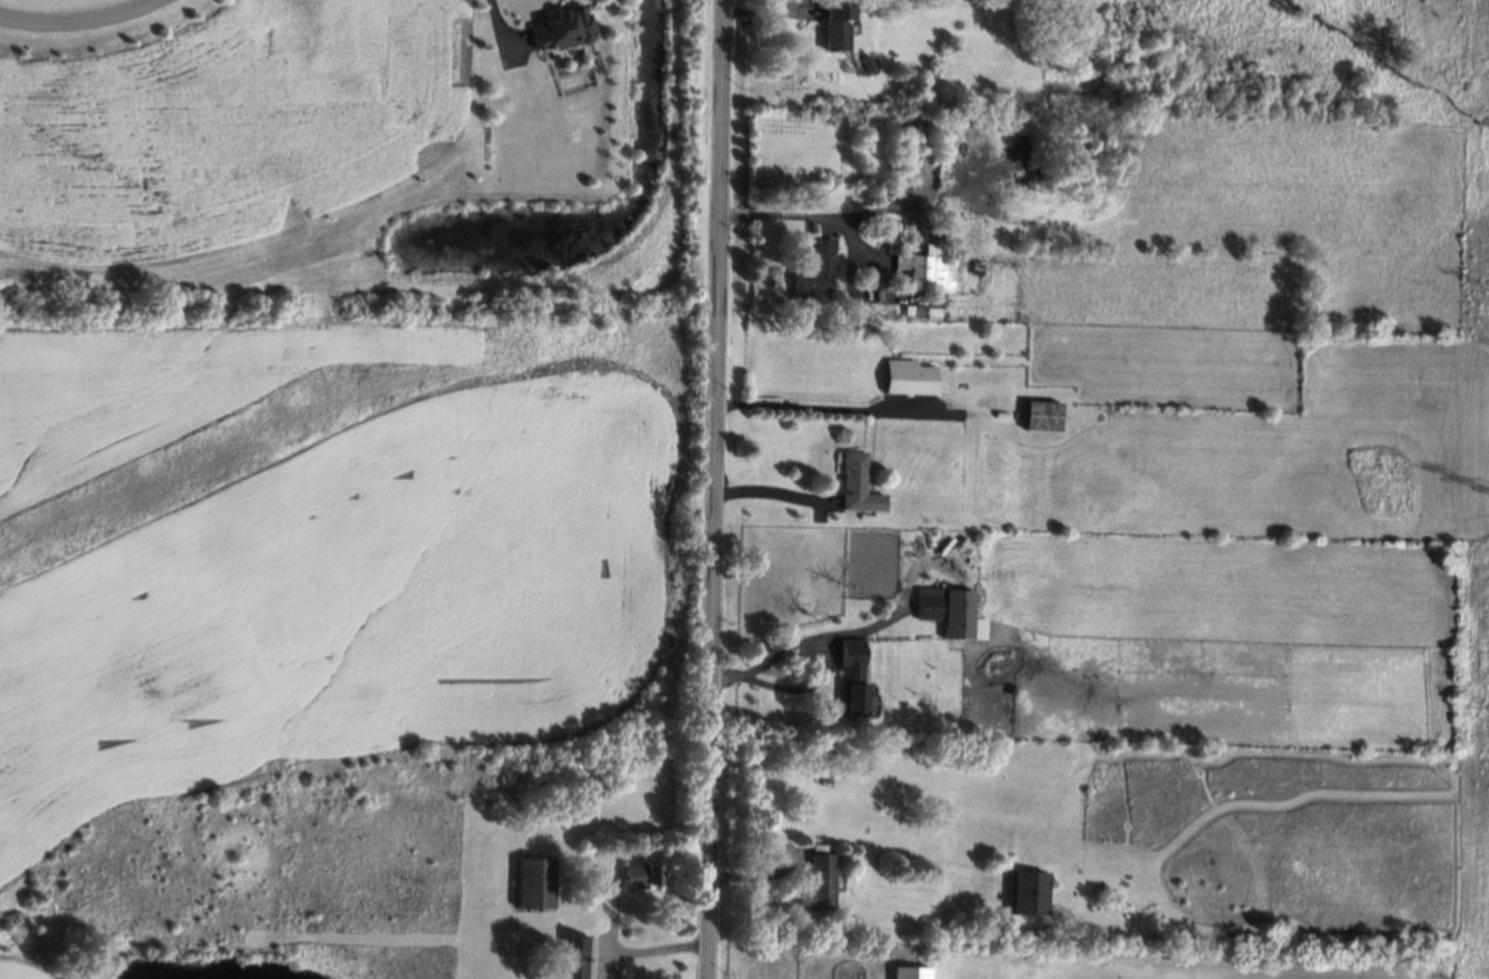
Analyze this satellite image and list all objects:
road: (78, 20)
building: (838, 25)
building: (564, 29)
road: (499, 32)
road: (806, 216)
building: (825, 263)
building: (925, 270)
building: (922, 313)
building: (910, 378)
crop: (178, 379)
road: (822, 407)
building: (1045, 417)
building: (859, 485)
road: (771, 488)
road: (716, 489)
building: (929, 604)
crop: (343, 610)
building: (962, 617)
road: (879, 621)
road: (816, 677)
building: (853, 678)
building: (641, 874)
building: (536, 882)
building: (819, 885)
building: (1028, 892)
road: (647, 949)
building: (581, 958)
building: (912, 973)
building: (556, 978)

